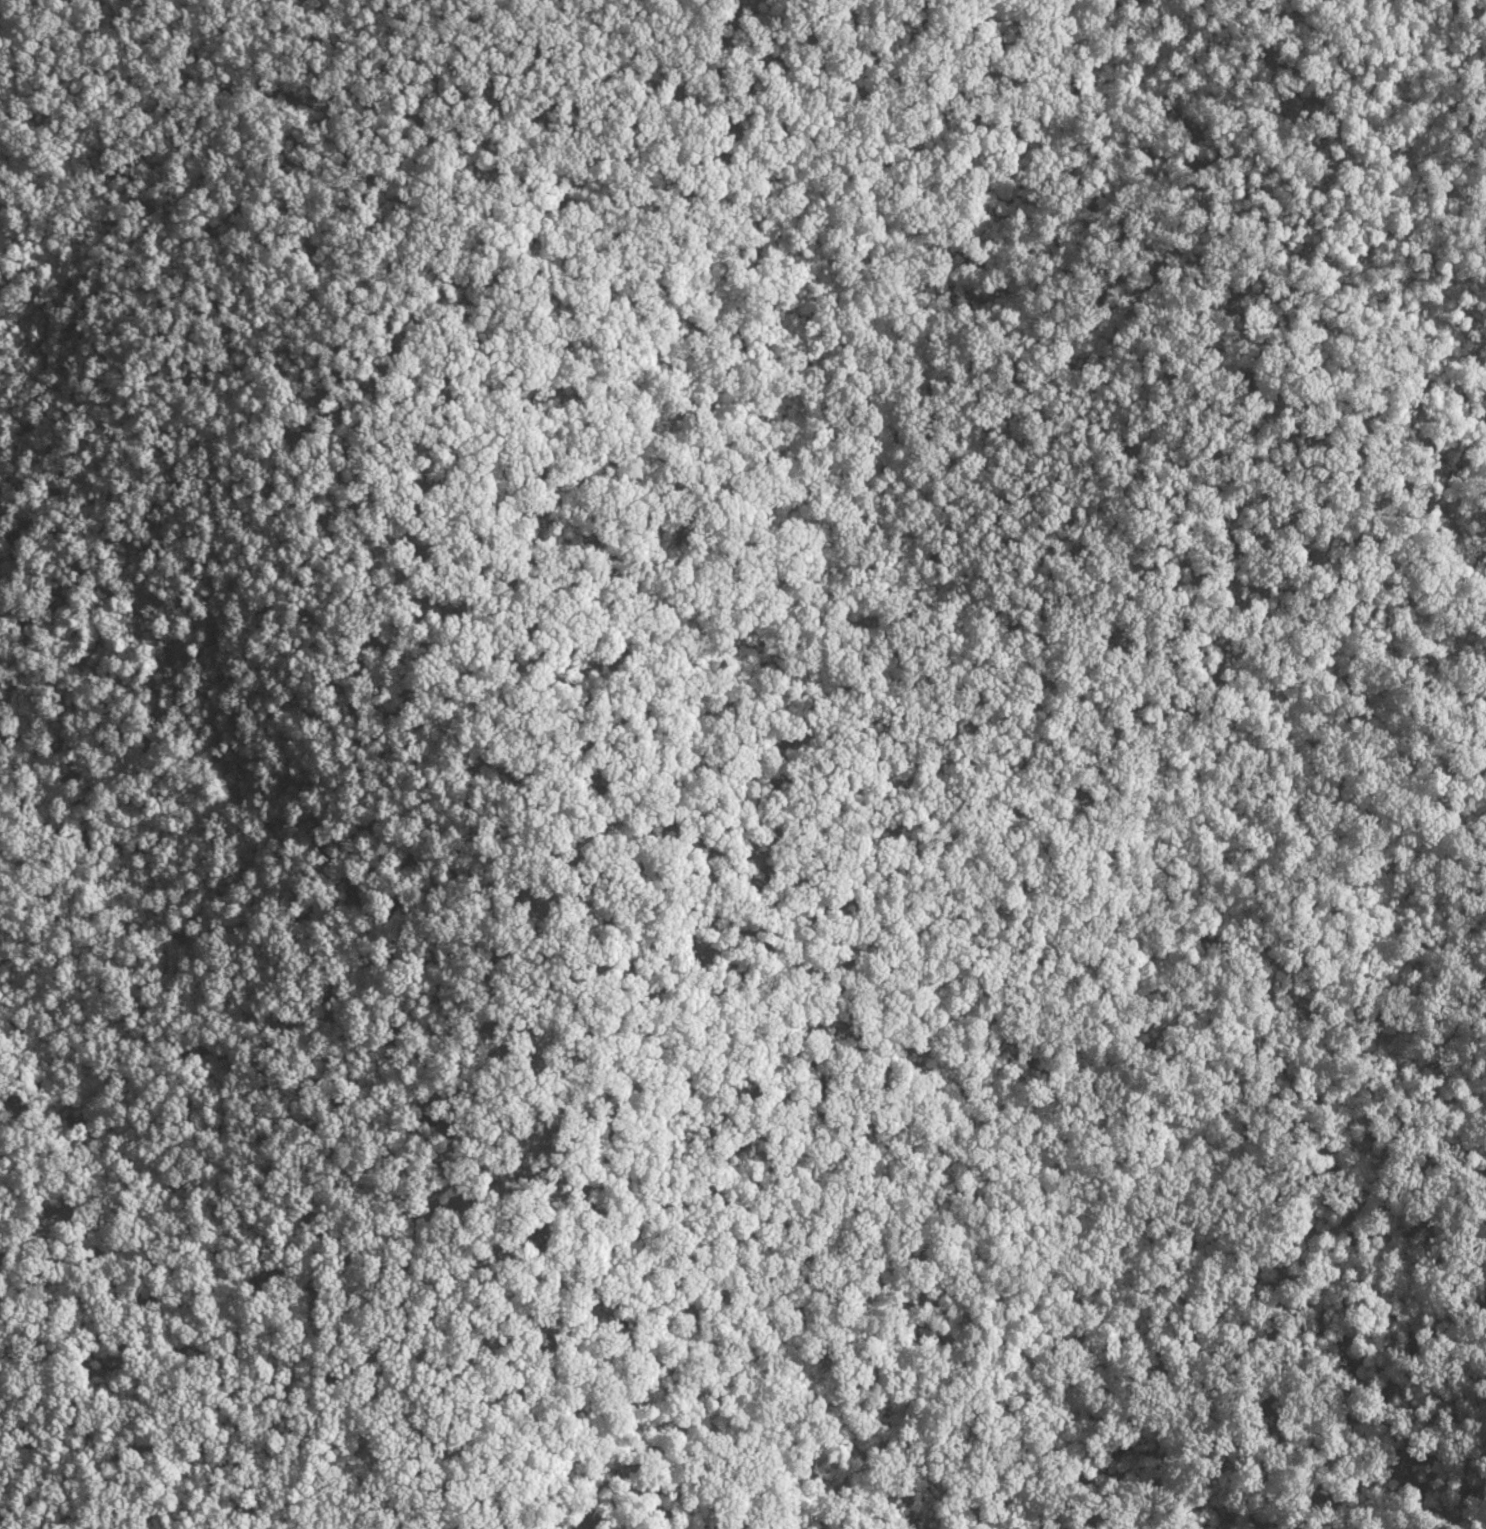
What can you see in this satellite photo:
park: (668, 1353)
road: (359, 1499)

